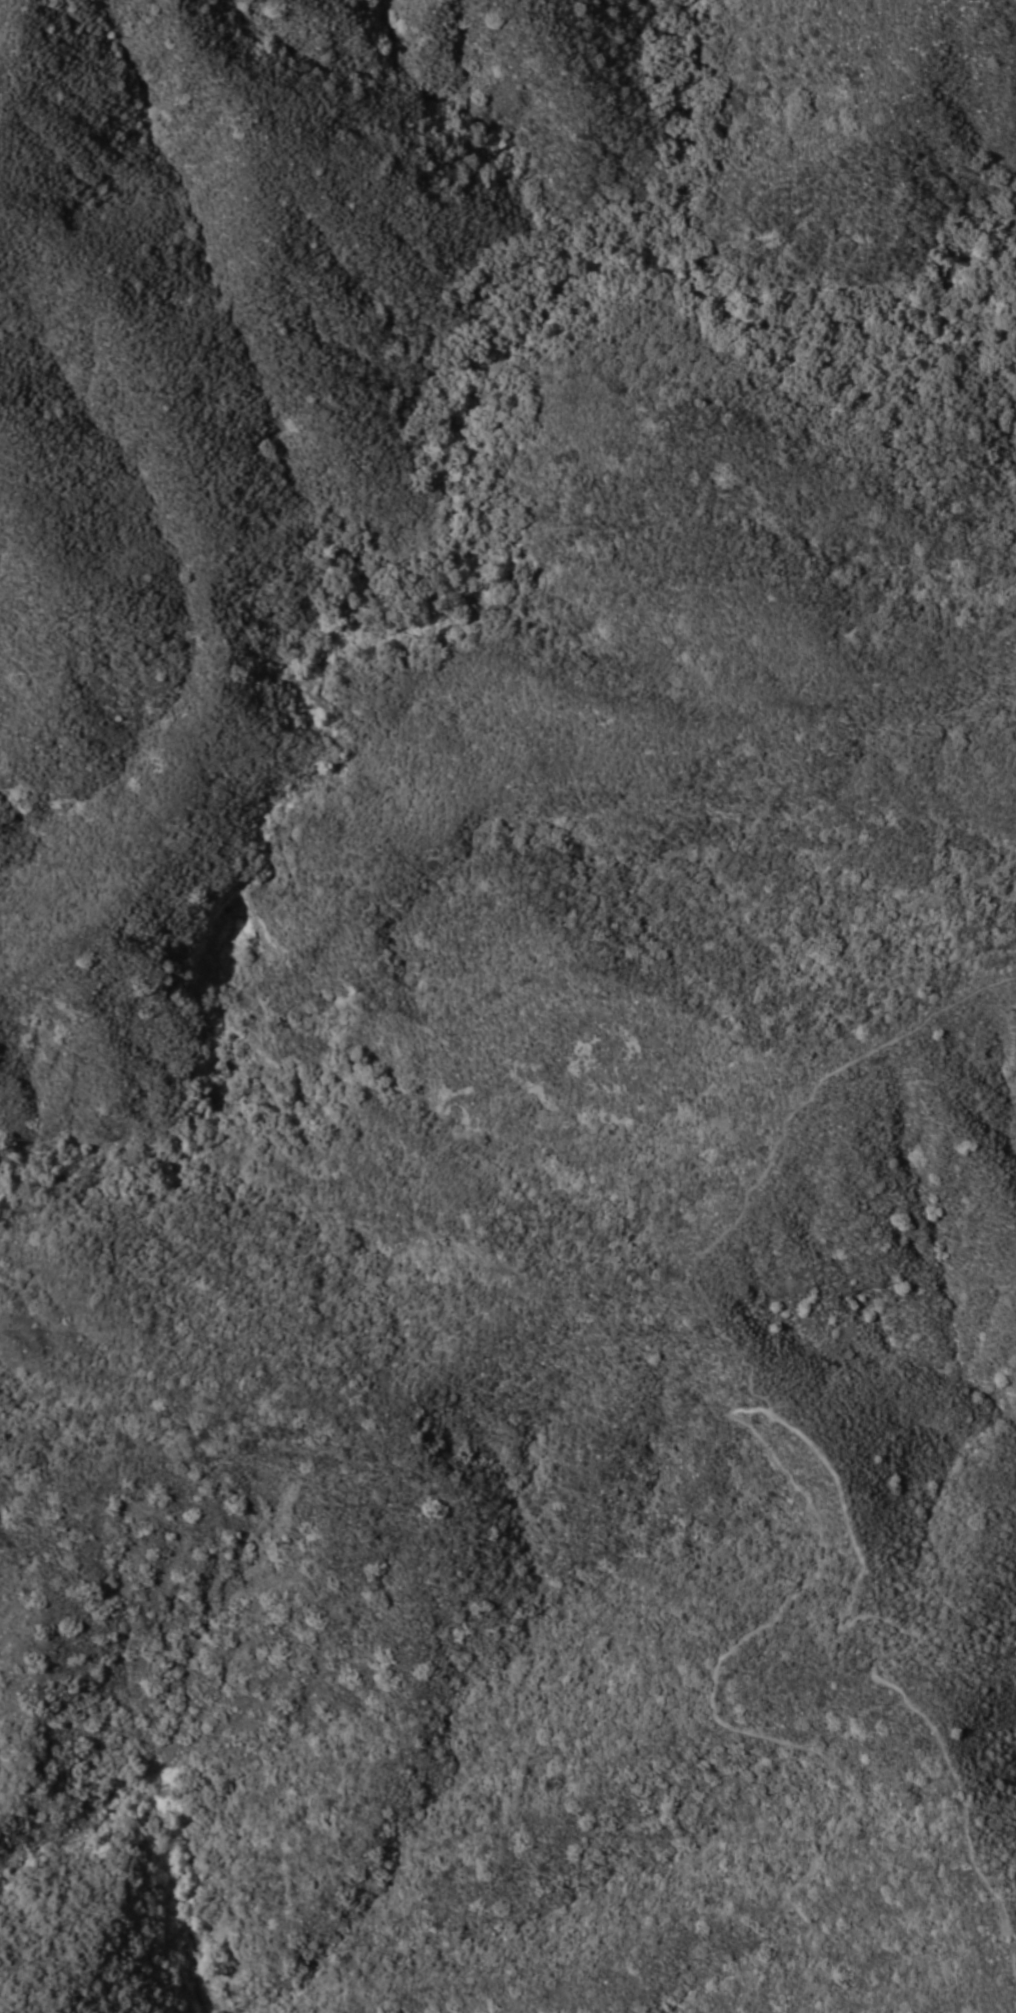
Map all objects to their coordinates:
road: (748, 1425)

